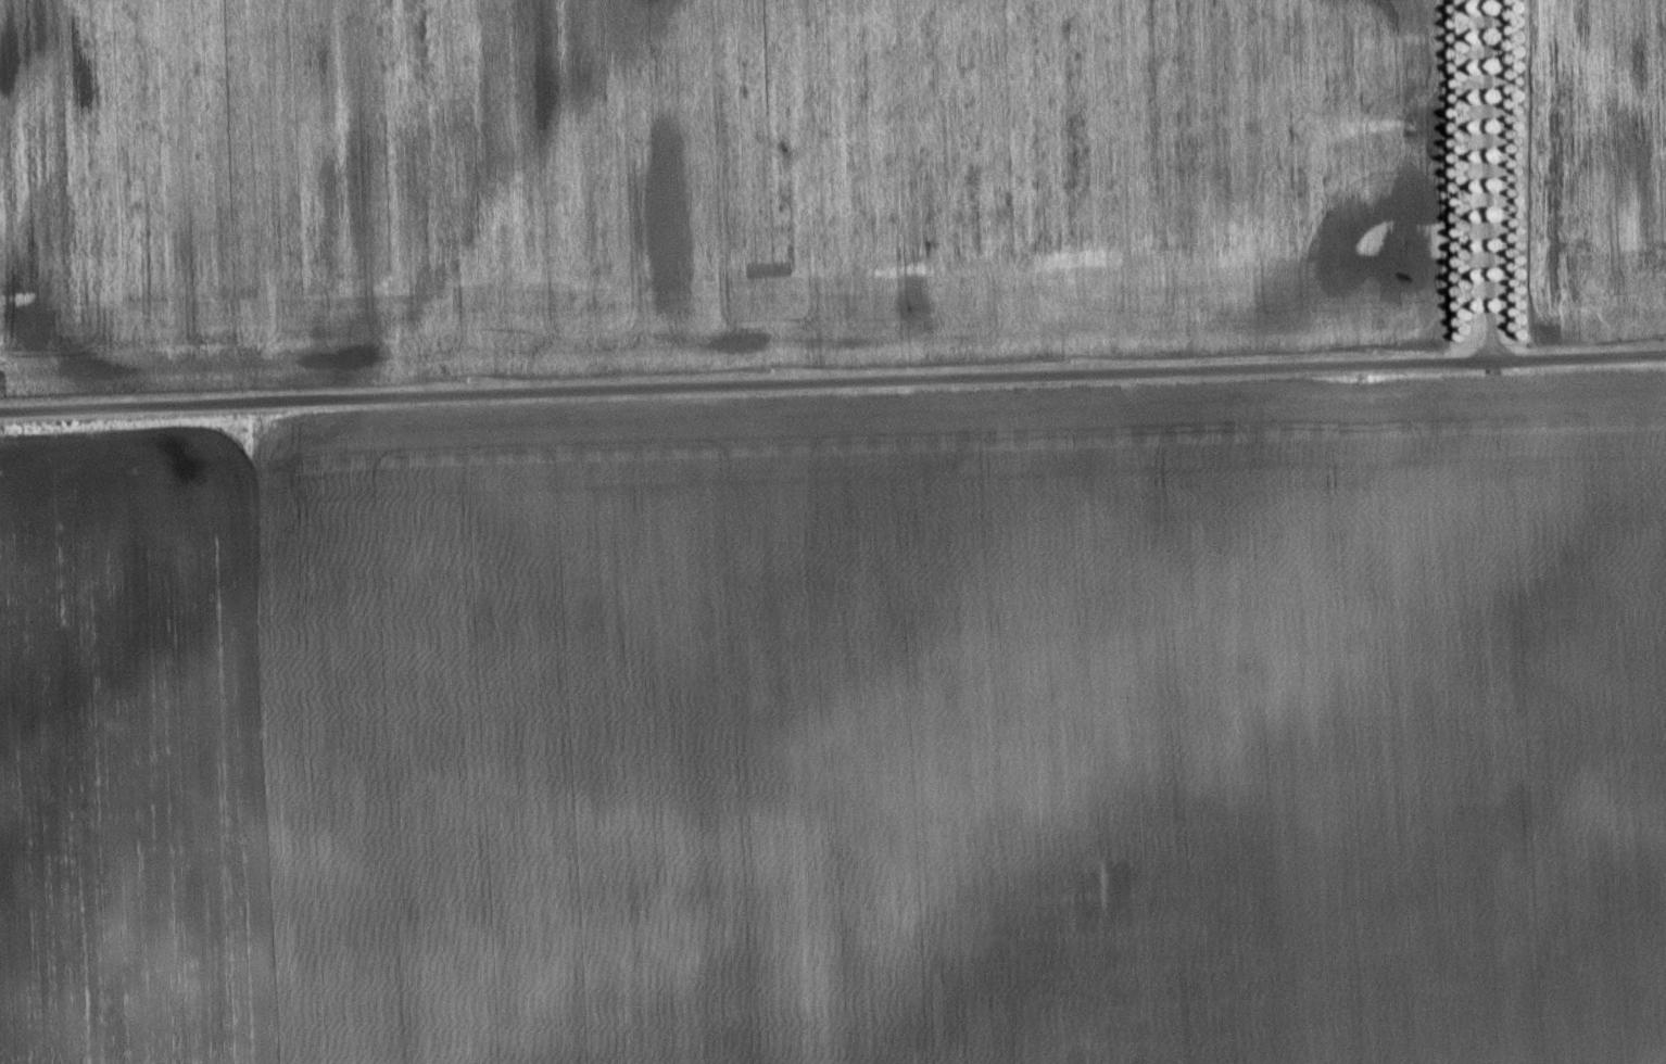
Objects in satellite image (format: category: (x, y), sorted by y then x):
road: (1488, 182)
road: (833, 385)

